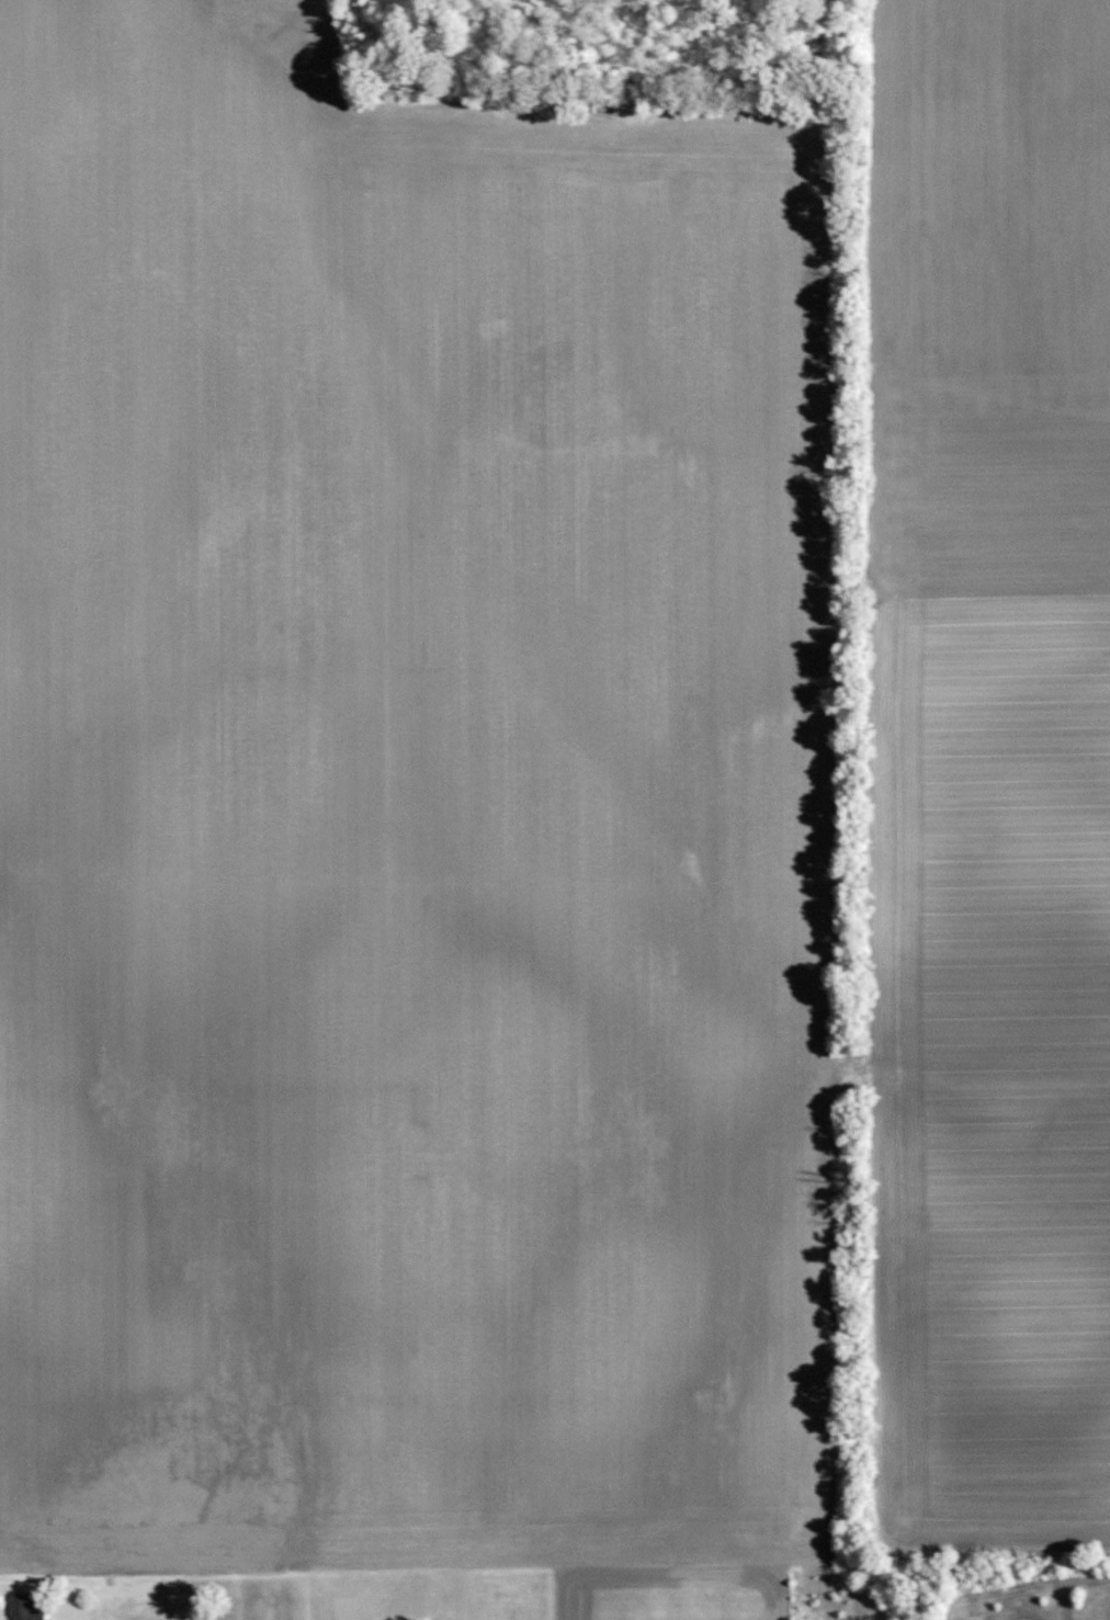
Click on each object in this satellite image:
building: (25, 1608)

